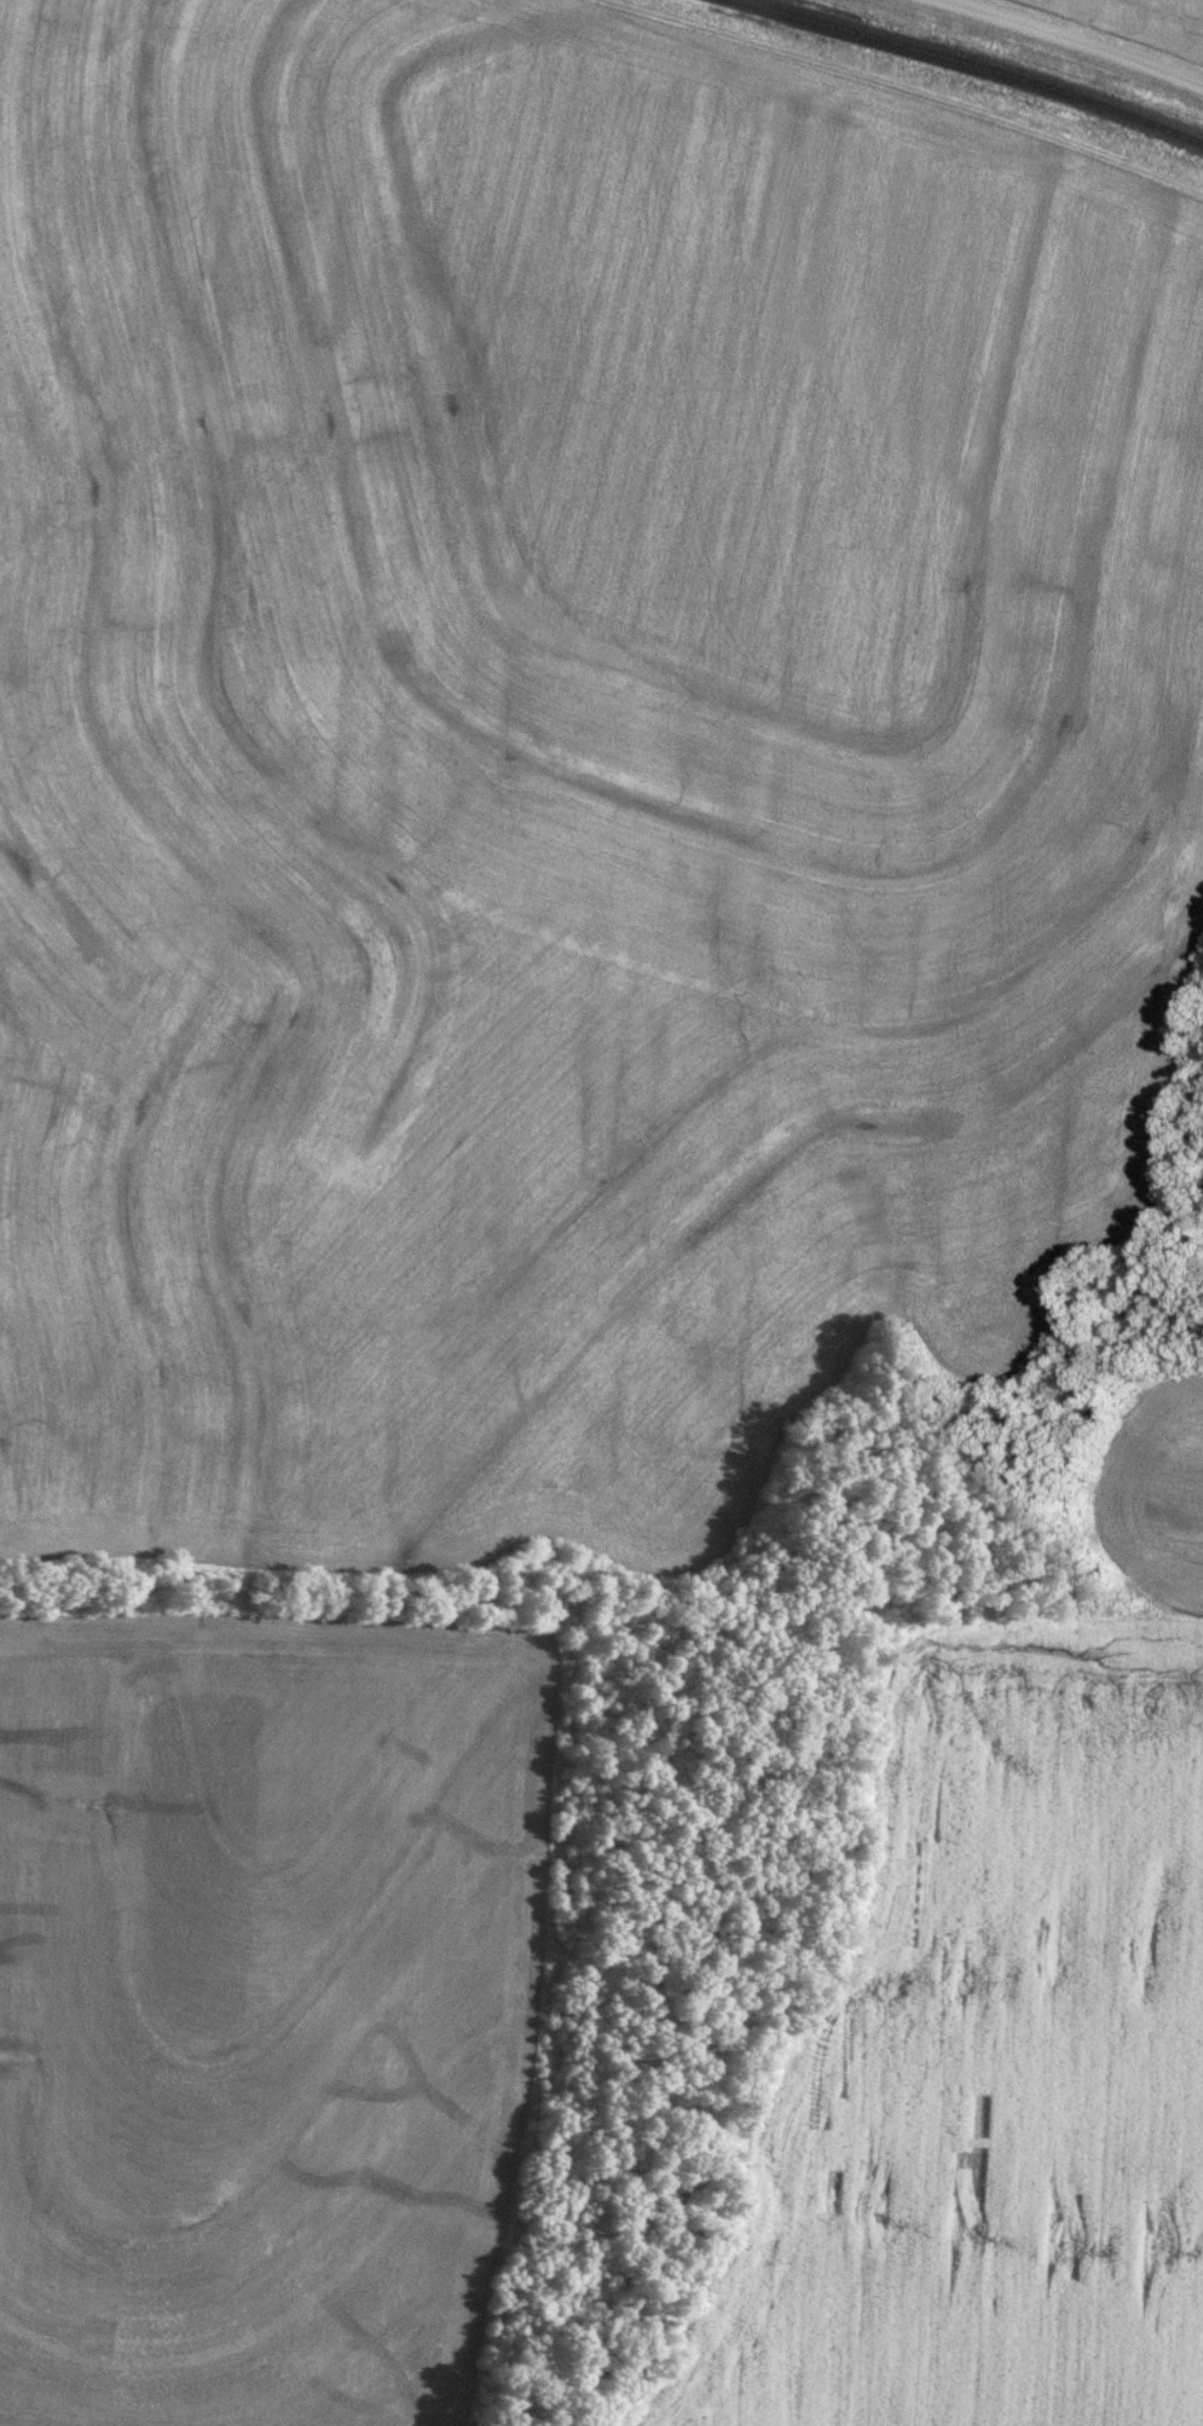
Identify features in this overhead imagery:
road: (1076, 39)
railway: (983, 63)

